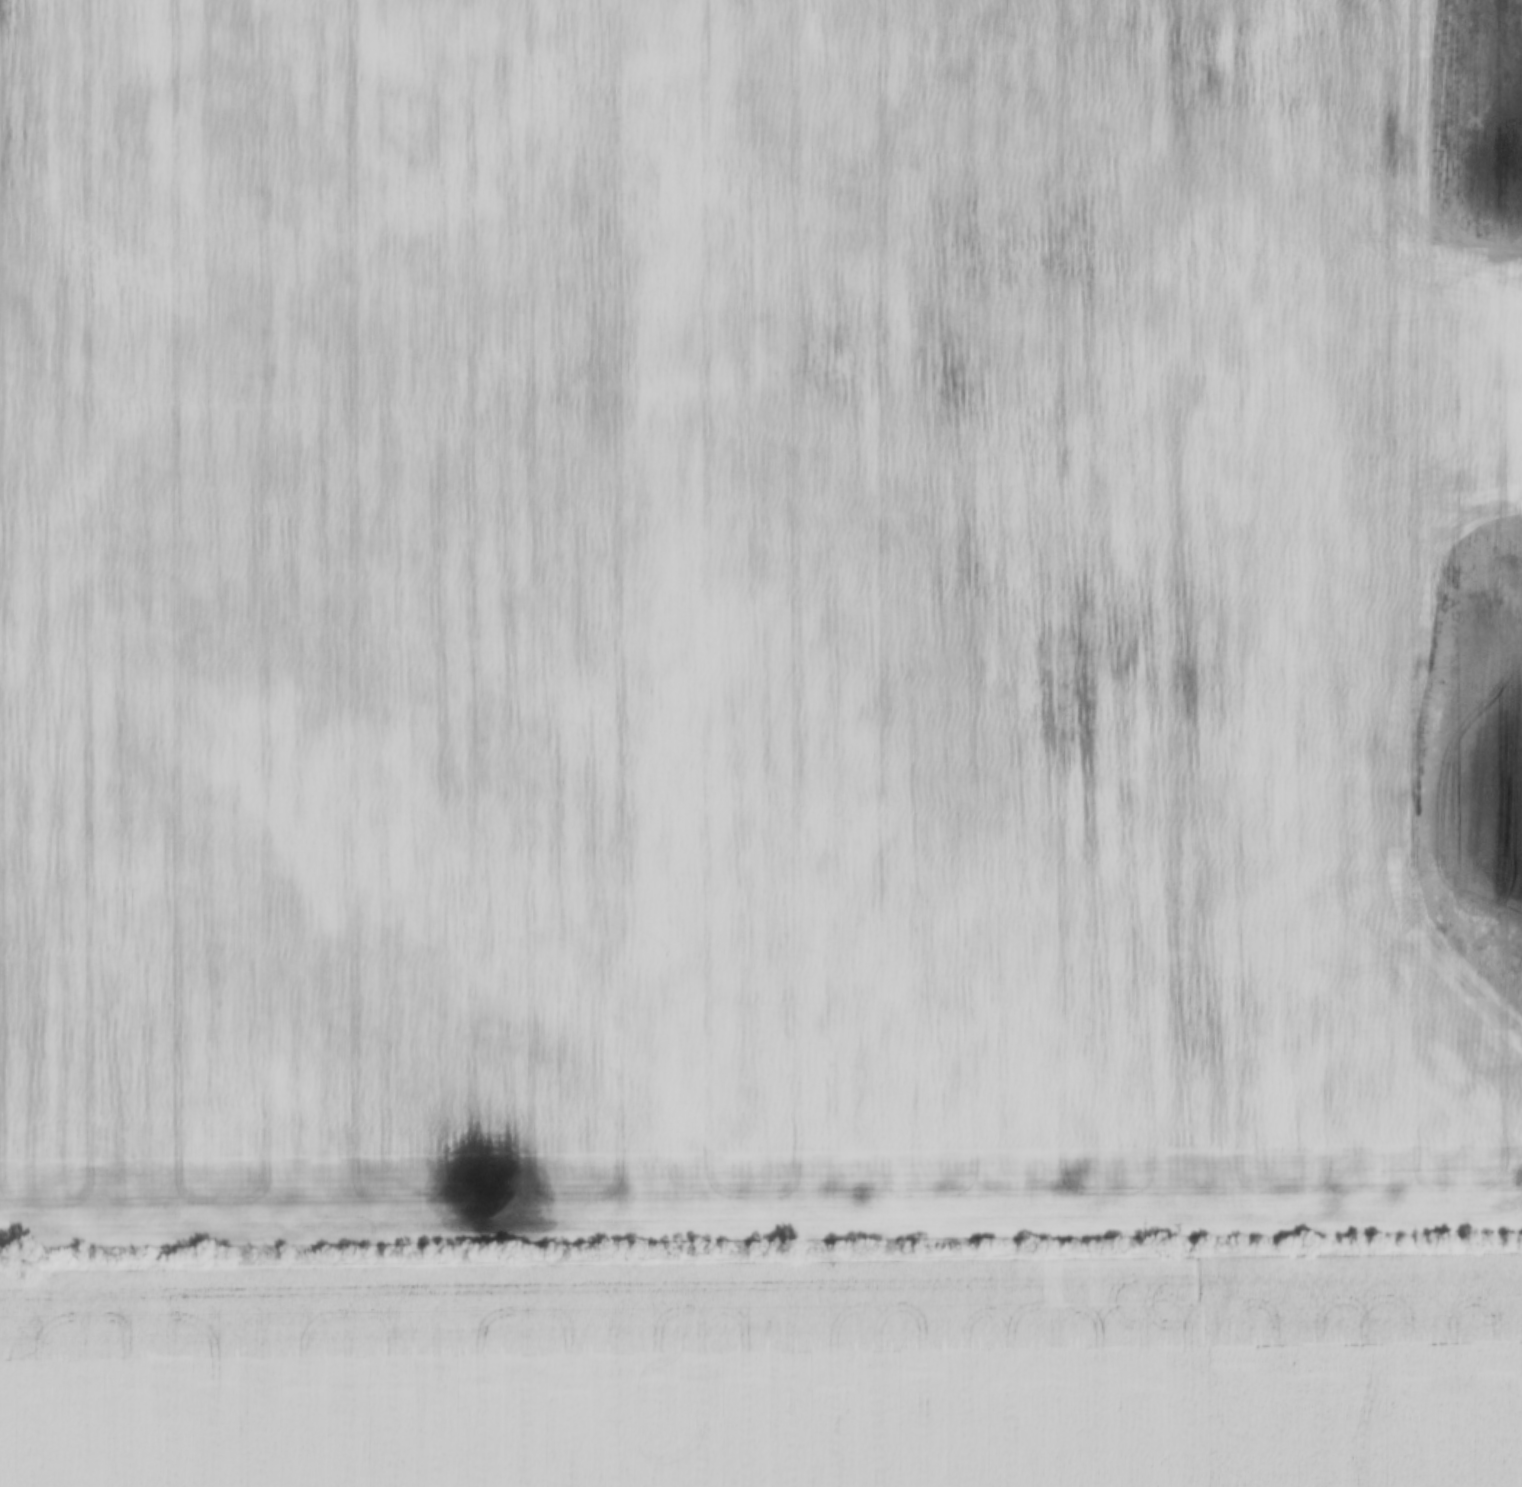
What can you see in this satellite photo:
road: (246, 1243)

